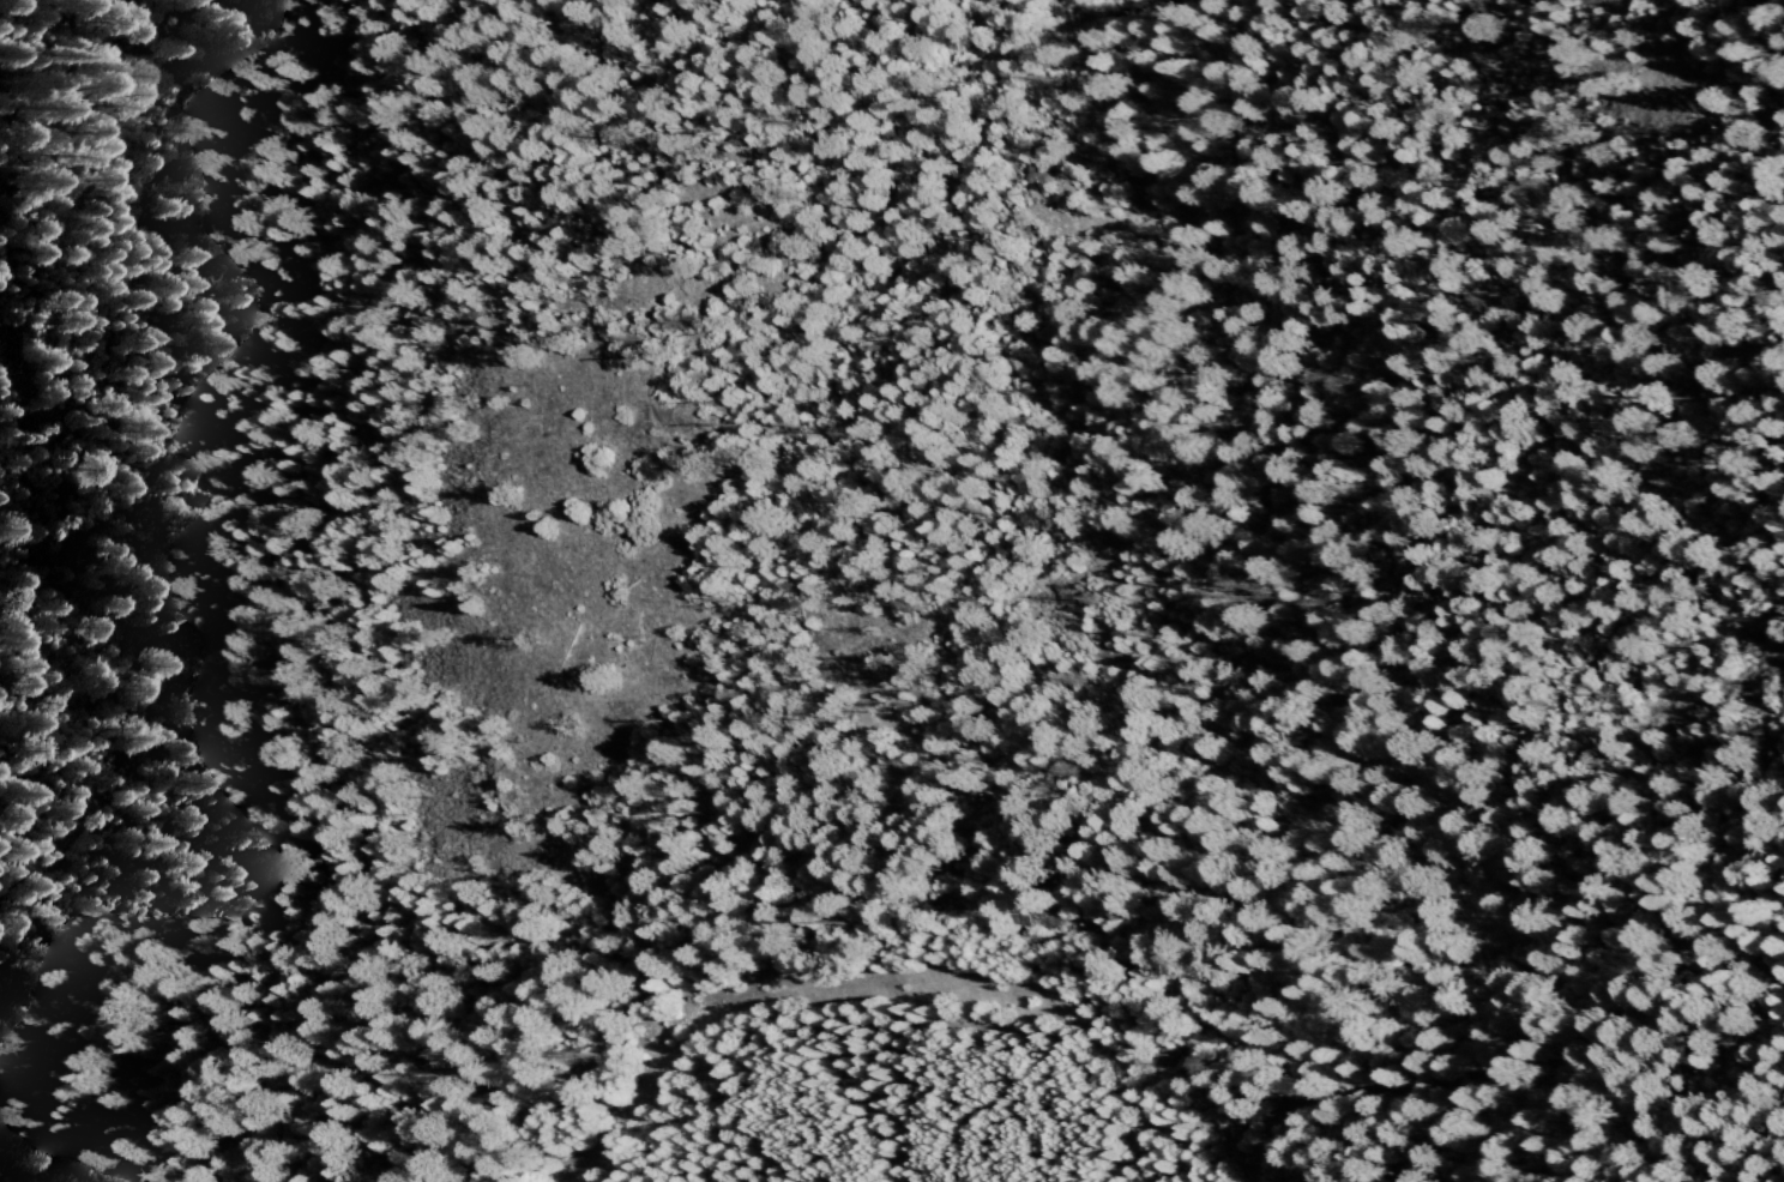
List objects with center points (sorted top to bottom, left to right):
road: (1518, 1050)

